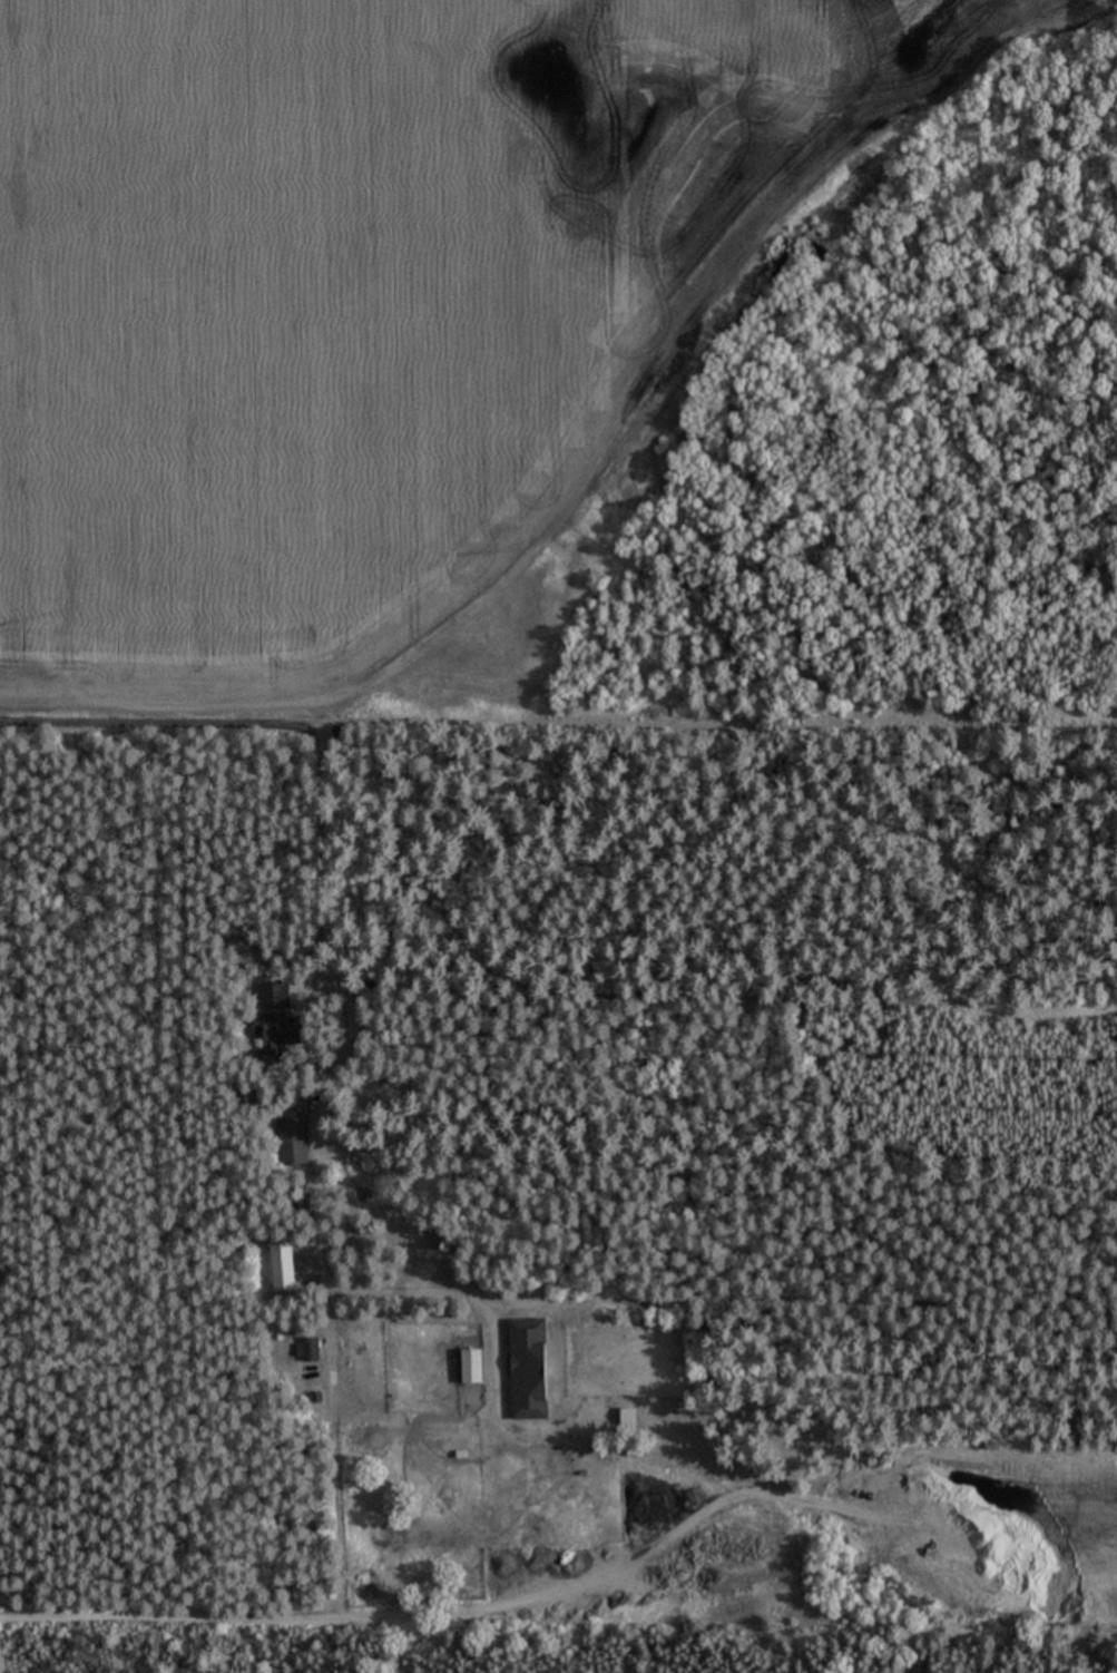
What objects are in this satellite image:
building: (294, 1142)
building: (284, 1268)
building: (311, 1351)
building: (472, 1368)
building: (529, 1371)
building: (629, 1419)
building: (302, 1606)

